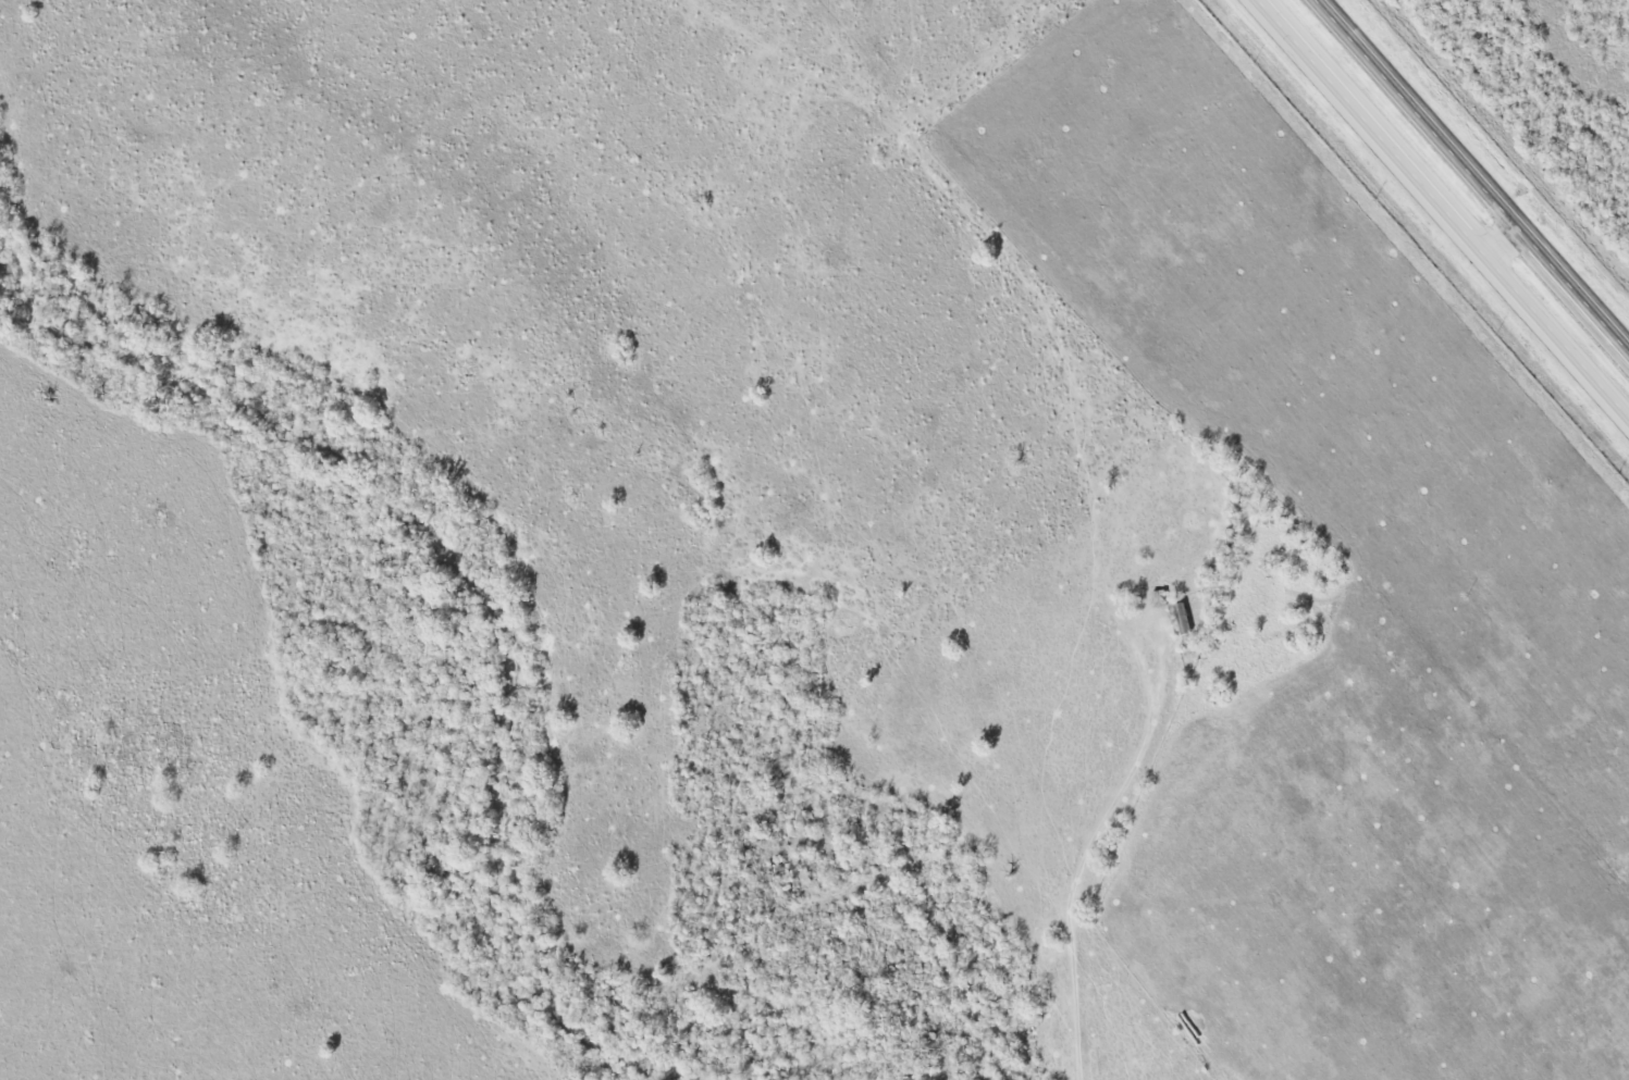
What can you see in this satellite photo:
road: (1477, 171)
road: (1444, 208)
road: (1500, 234)
building: (1184, 619)
road: (1079, 865)

